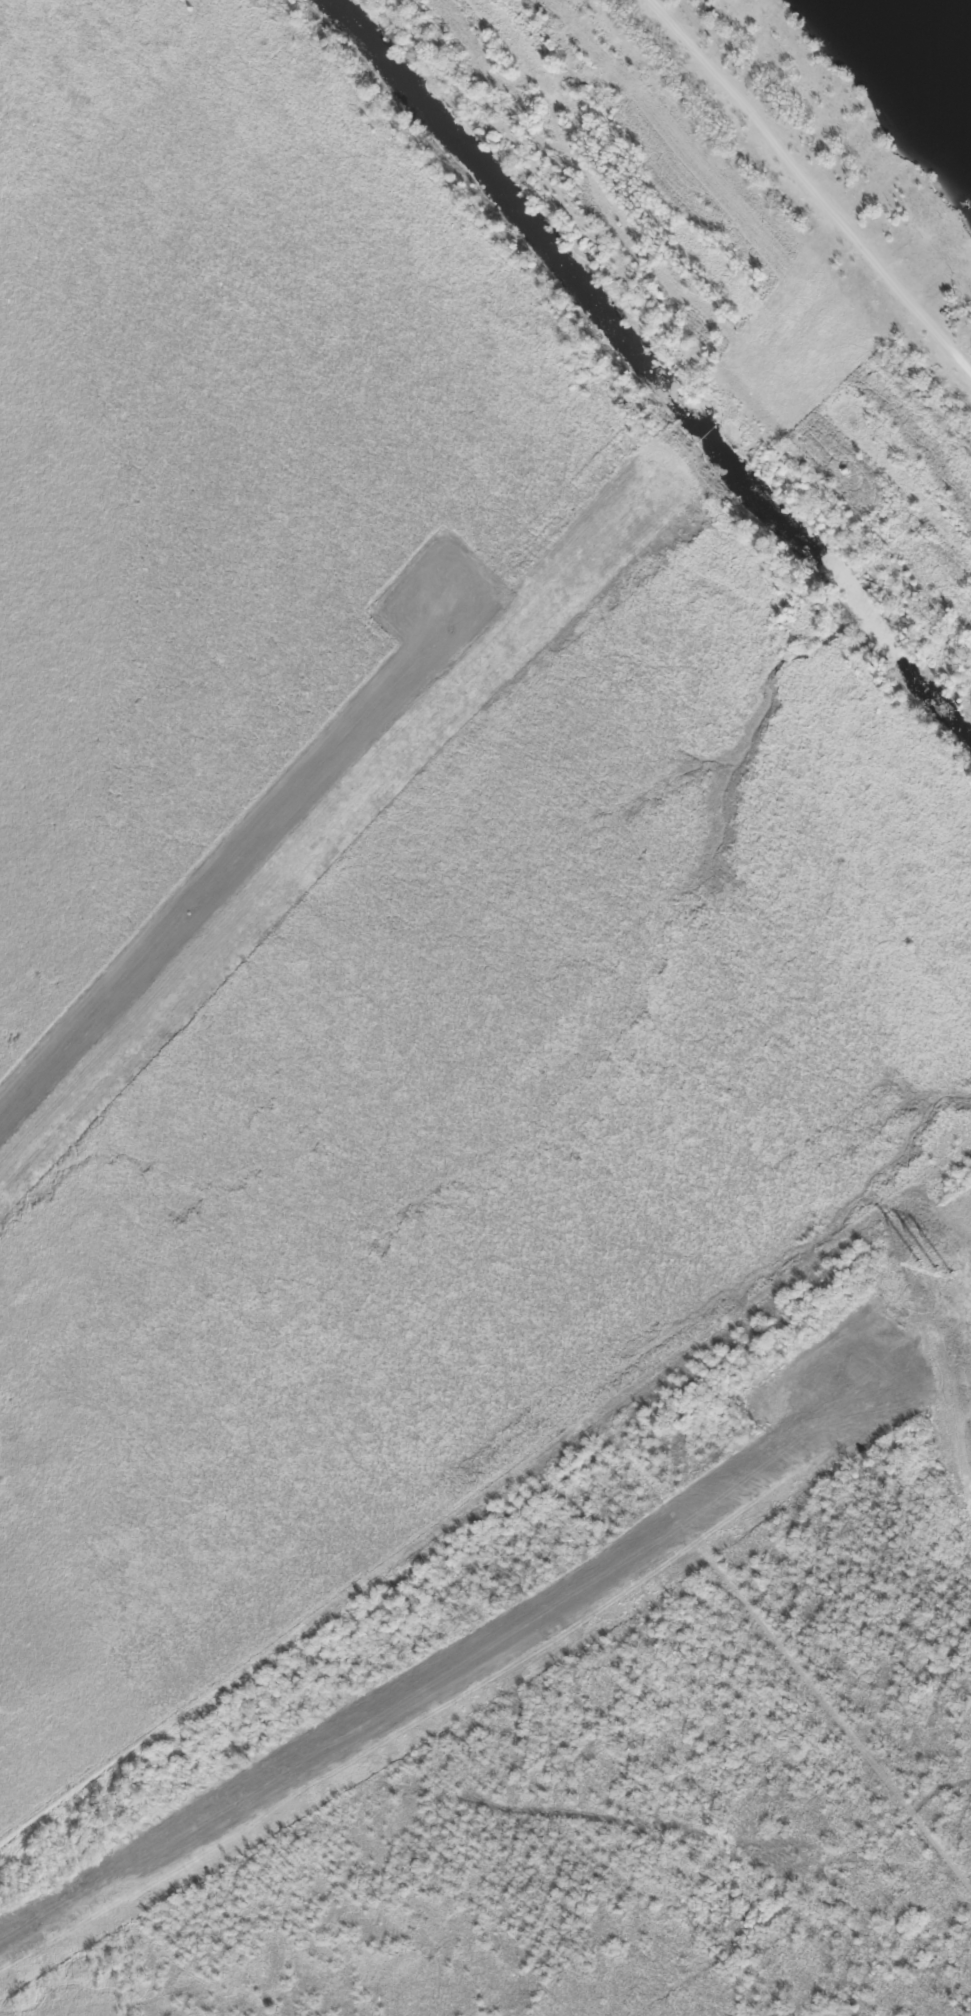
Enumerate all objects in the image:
road: (813, 182)
road: (811, 355)
road: (715, 448)
road: (340, 816)
power tower: (936, 1271)

